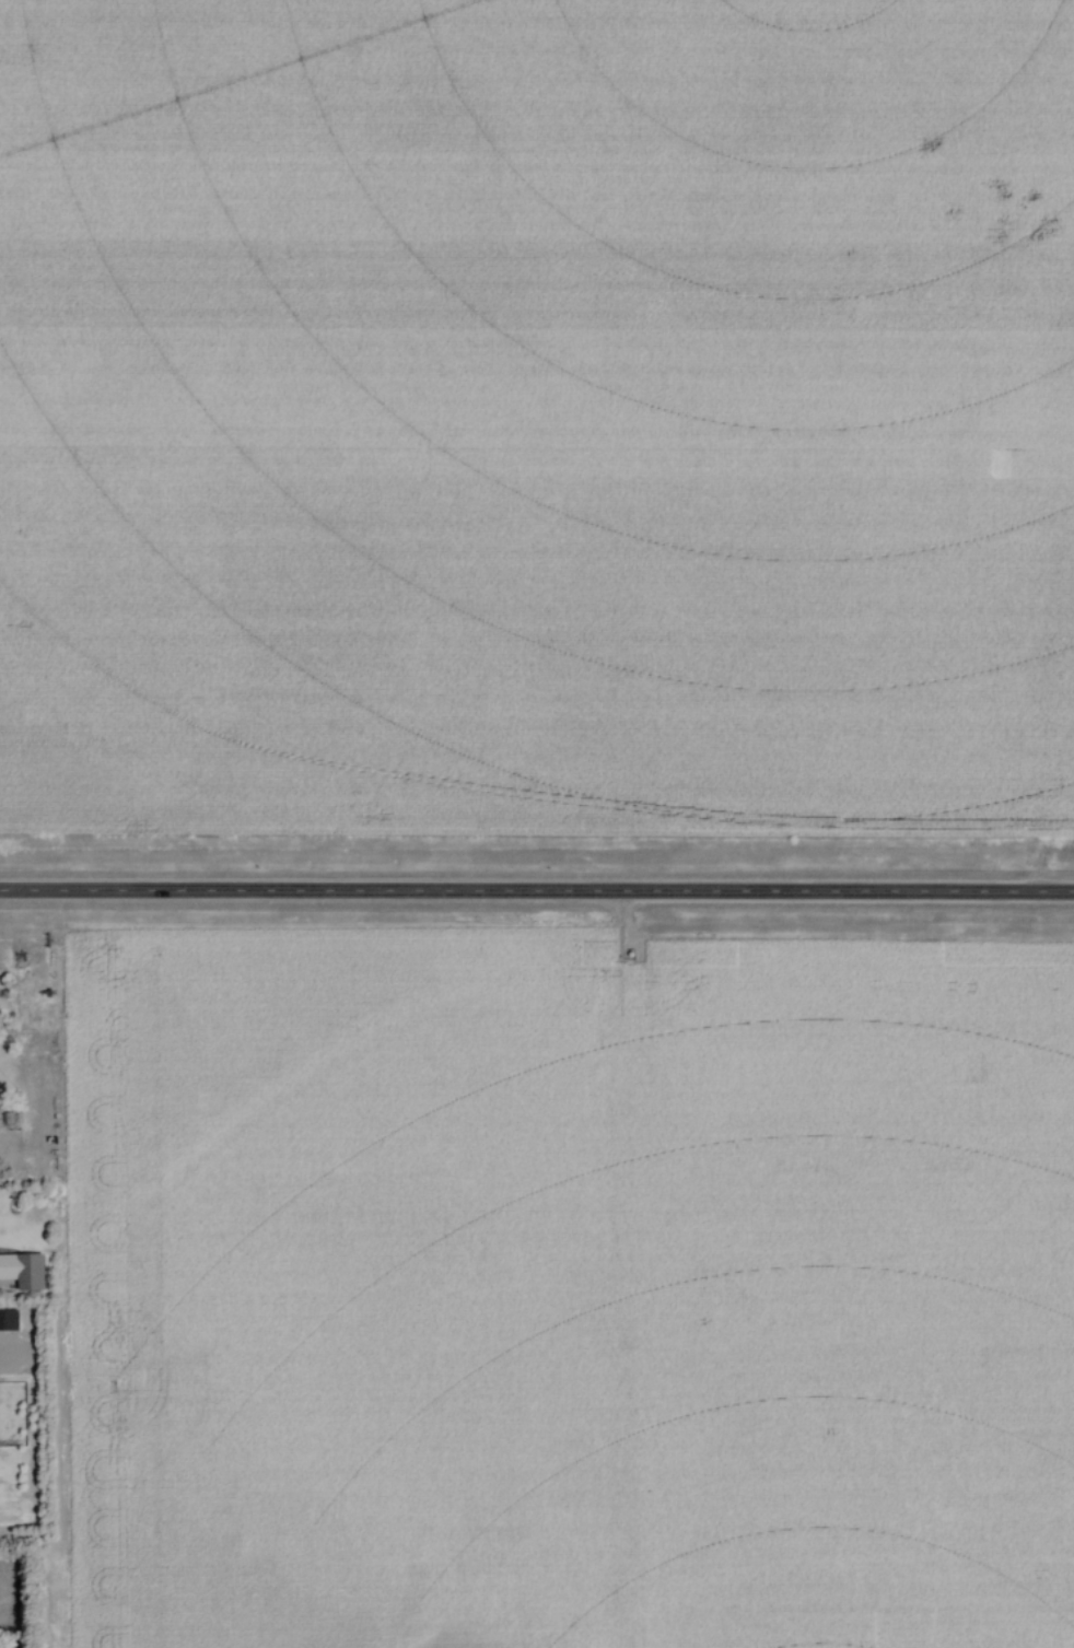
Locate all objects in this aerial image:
road: (537, 893)
building: (28, 1274)
building: (8, 1321)

